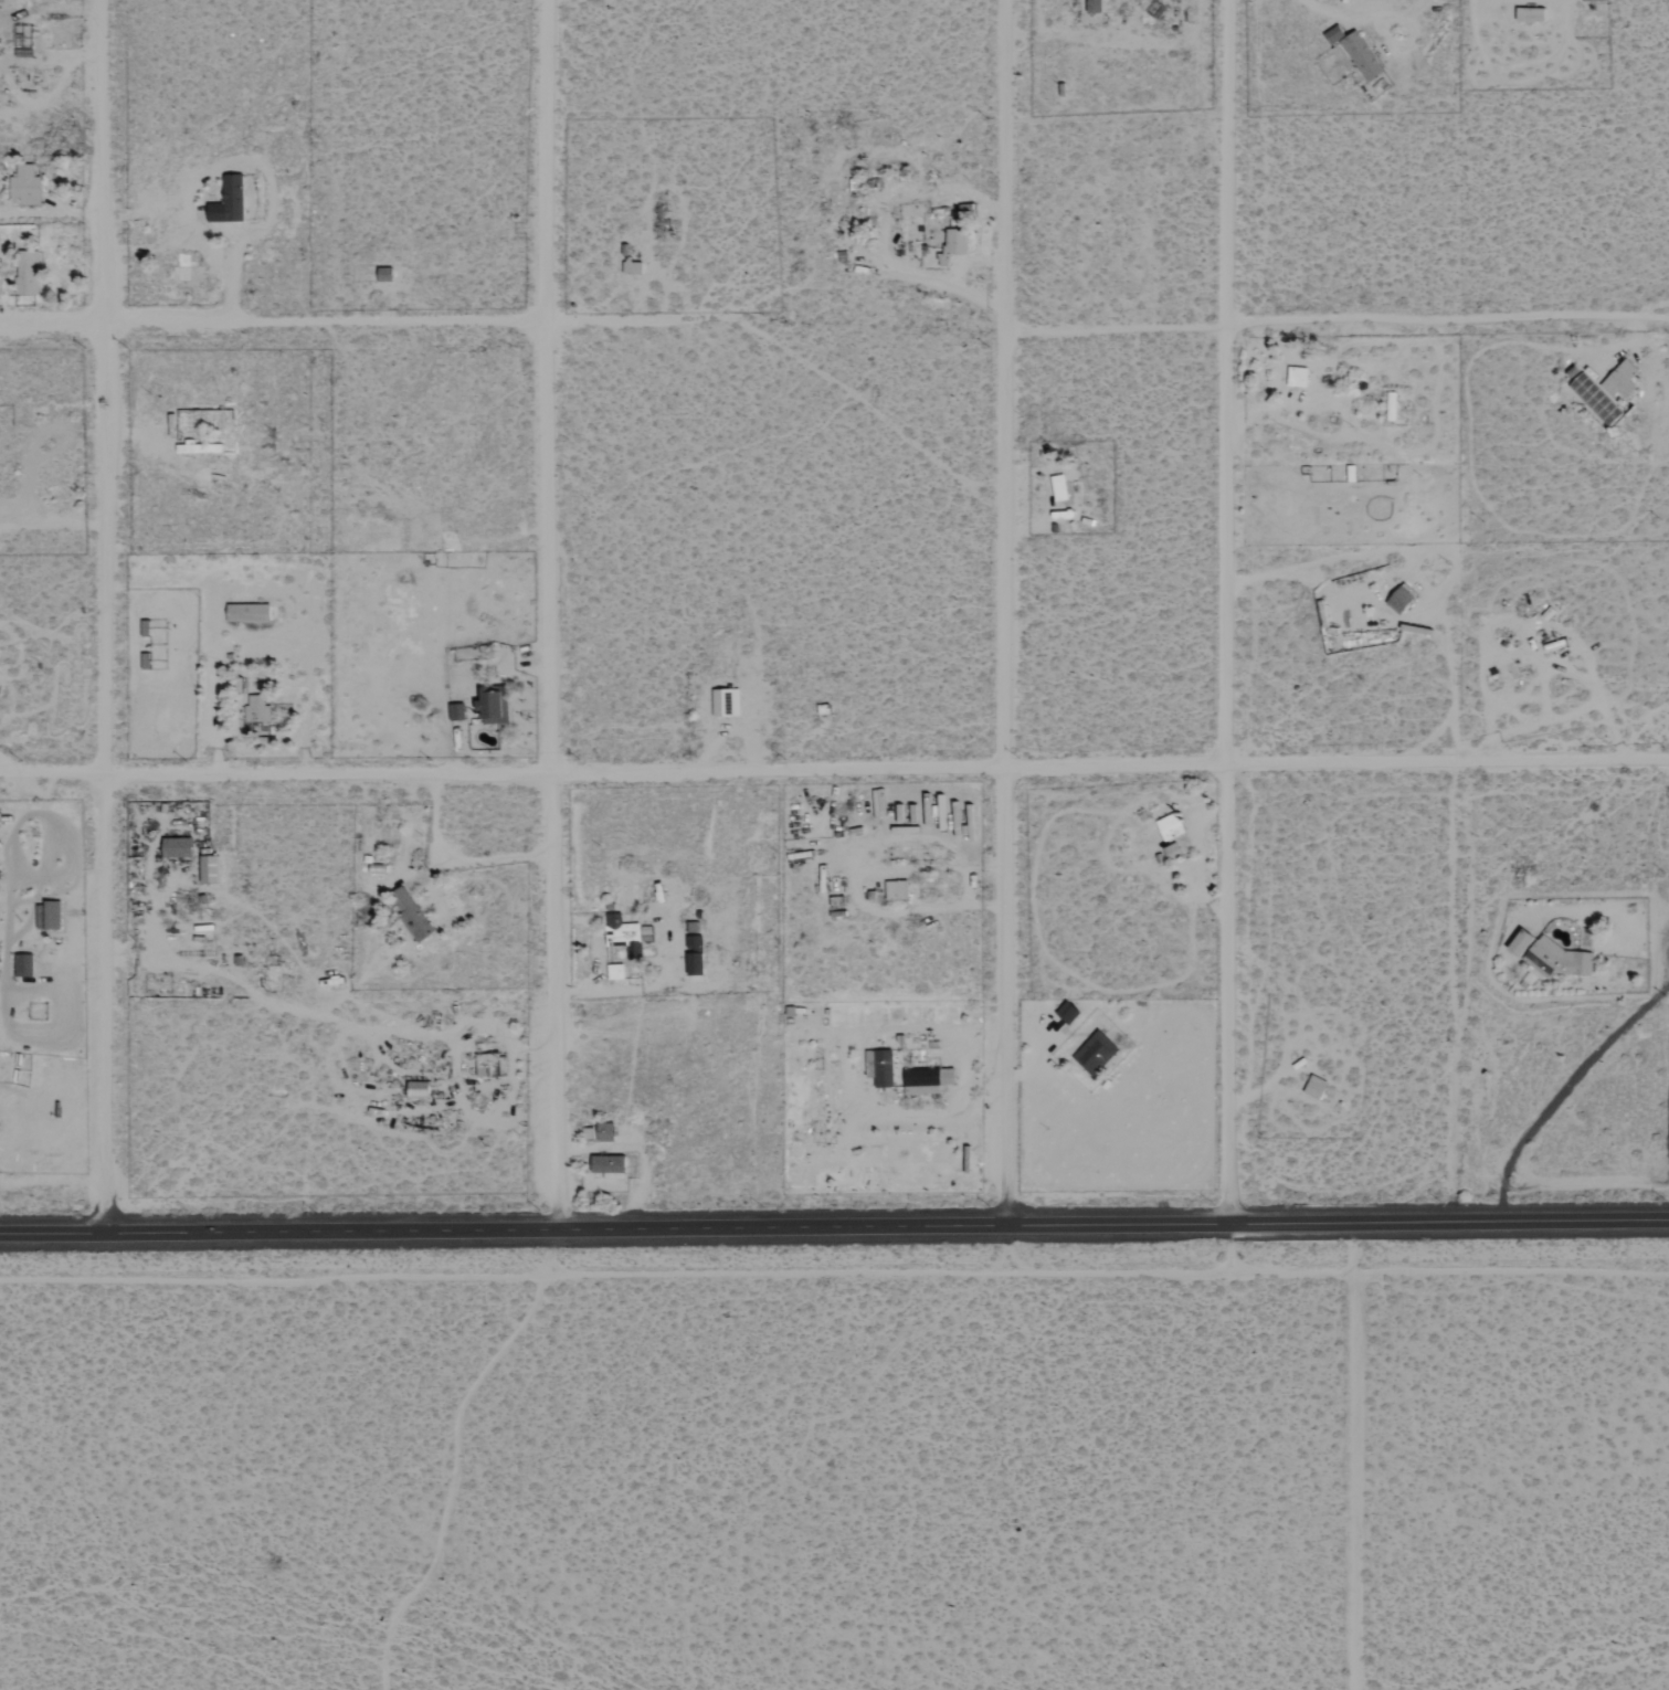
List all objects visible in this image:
building: (1096, 7)
building: (1363, 56)
building: (25, 186)
building: (234, 201)
building: (954, 245)
building: (27, 273)
road: (1335, 319)
road: (268, 323)
road: (605, 323)
building: (1298, 377)
building: (1620, 380)
building: (1596, 400)
building: (198, 448)
building: (1060, 488)
road: (545, 611)
road: (1001, 611)
road: (1224, 611)
building: (250, 613)
road: (106, 616)
building: (495, 705)
building: (257, 710)
building: (457, 712)
road: (1108, 768)
road: (274, 777)
building: (1171, 826)
building: (178, 847)
building: (210, 870)
building: (897, 890)
building: (412, 916)
building: (1523, 943)
building: (622, 946)
building: (696, 955)
building: (1559, 962)
building: (24, 965)
building: (1096, 1054)
building: (880, 1067)
building: (928, 1080)
building: (1317, 1088)
building: (420, 1090)
building: (606, 1132)
building: (610, 1168)
road: (834, 1223)

